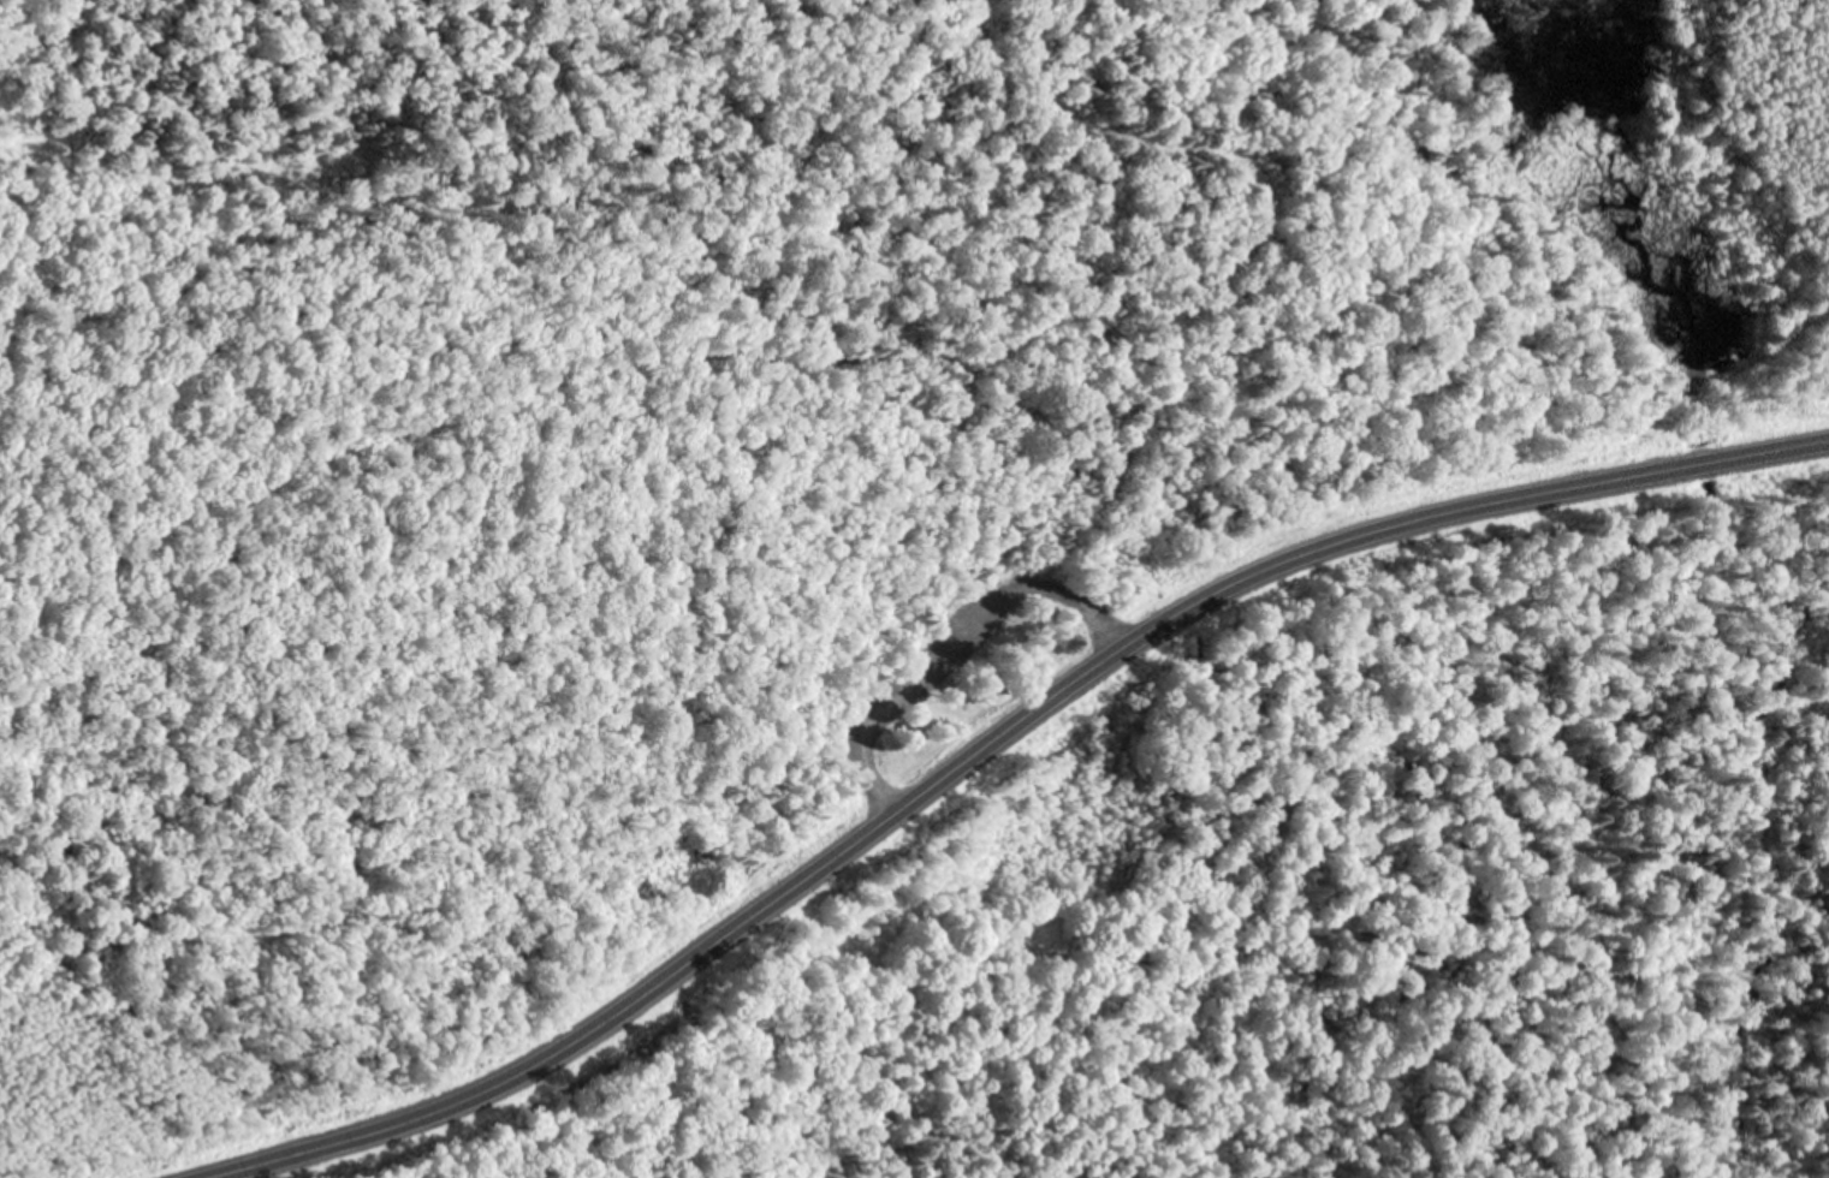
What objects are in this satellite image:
road: (1431, 453)
road: (296, 480)
road: (996, 593)
road: (1092, 620)
parking lot: (979, 642)
road: (867, 718)
road: (991, 744)

